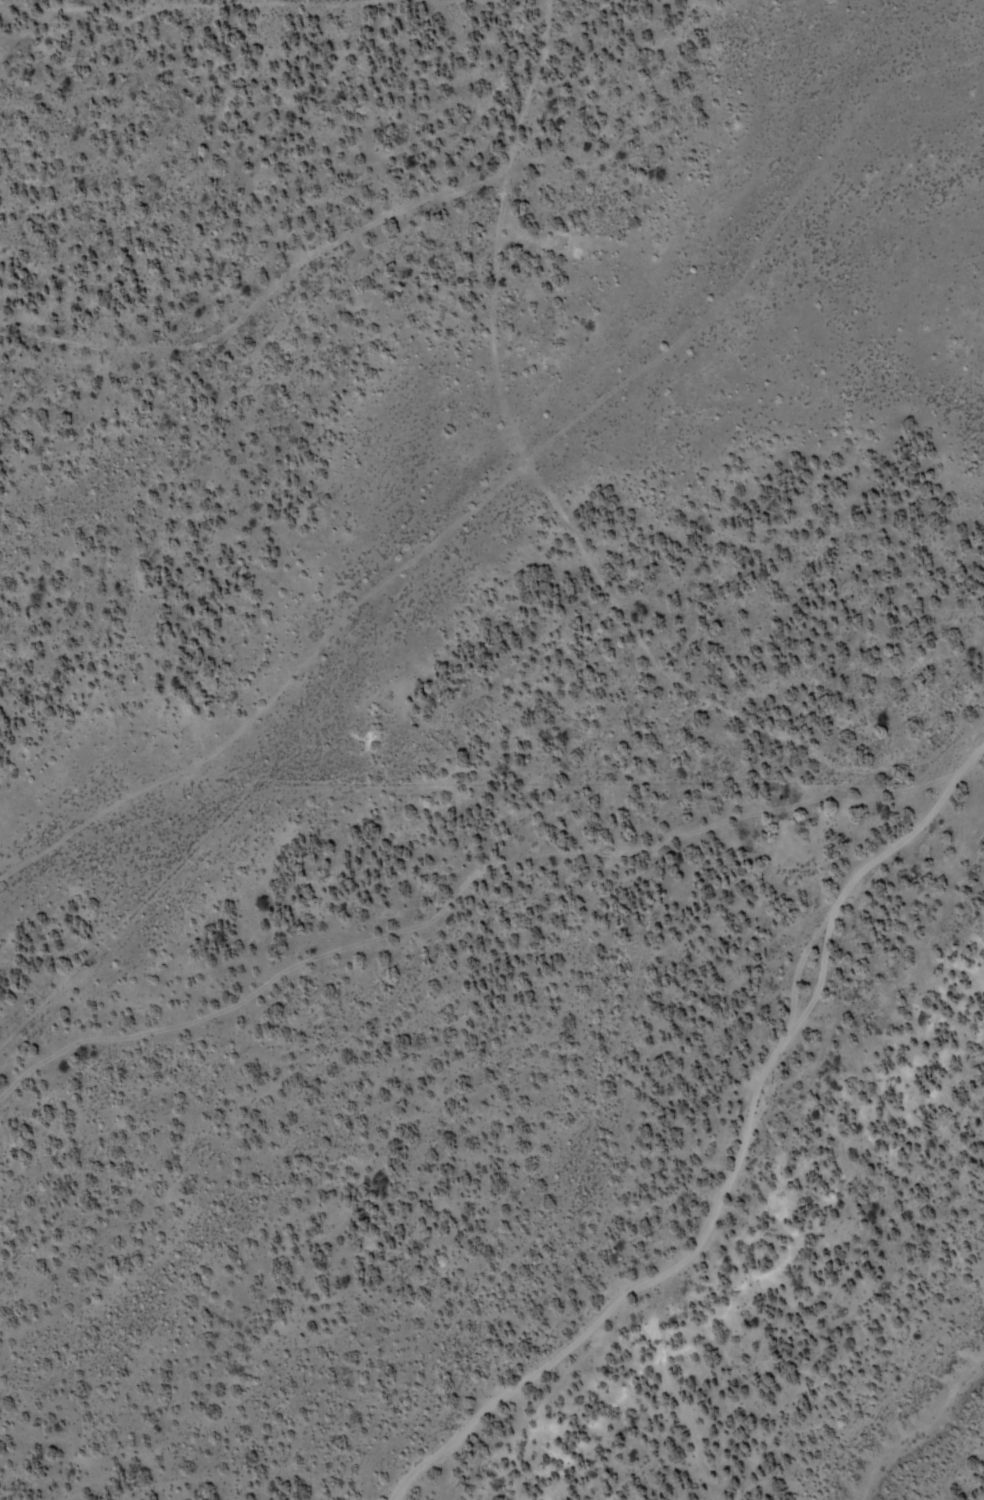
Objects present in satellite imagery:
road: (553, 511)
road: (274, 689)
road: (736, 1154)

